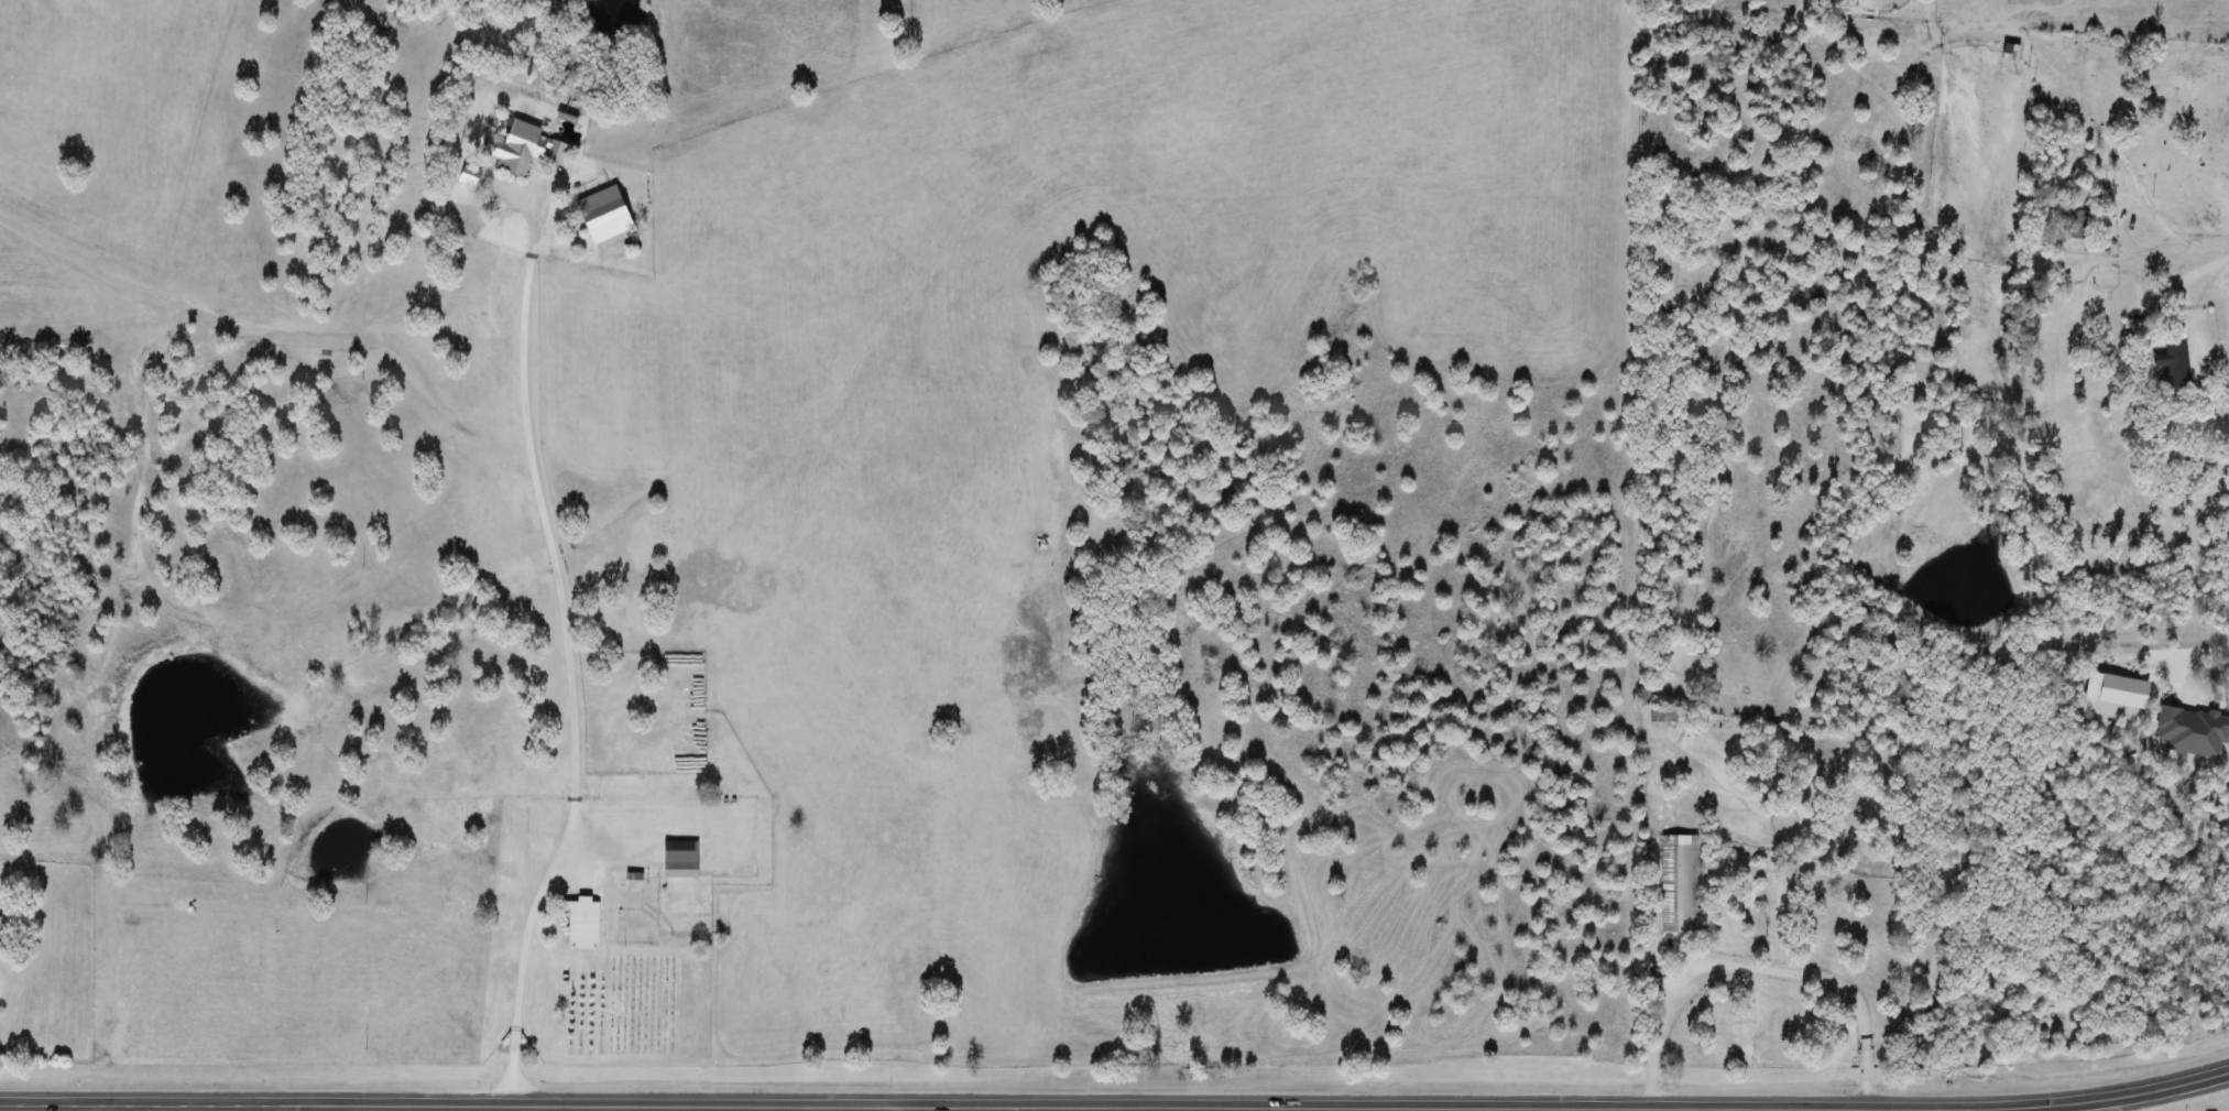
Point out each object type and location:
building: (517, 146)
road: (2129, 173)
building: (468, 174)
building: (2079, 225)
road: (2179, 279)
building: (2176, 363)
road: (529, 551)
building: (2159, 710)
building: (1662, 714)
building: (679, 858)
building: (1678, 883)
building: (581, 922)
road: (1758, 968)
road: (2, 985)
road: (2154, 1093)
road: (741, 1104)
road: (98, 1107)
road: (898, 1109)
road: (1399, 1110)

